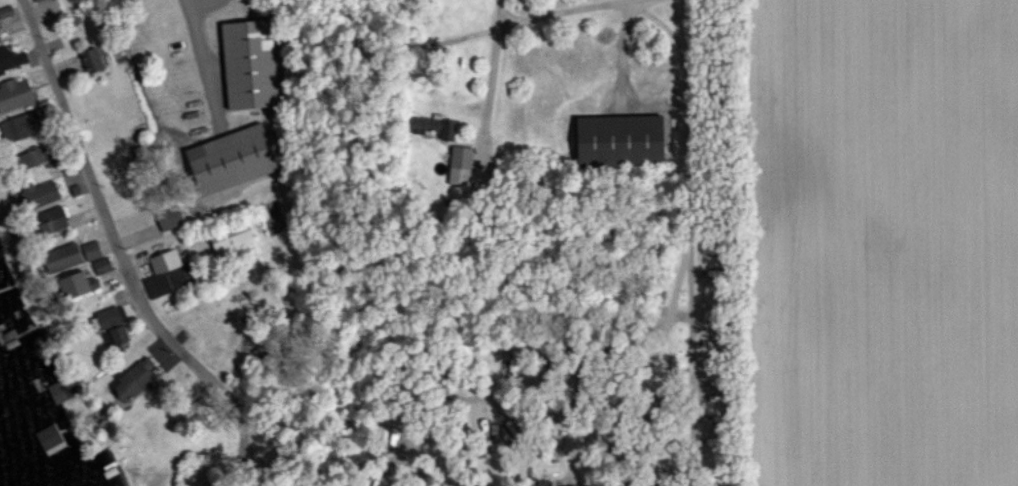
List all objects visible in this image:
road: (196, 3)
road: (560, 10)
building: (5, 11)
road: (660, 22)
building: (11, 59)
building: (89, 60)
road: (200, 62)
building: (248, 64)
road: (483, 78)
building: (14, 93)
building: (13, 126)
building: (433, 127)
building: (617, 140)
road: (693, 154)
building: (230, 159)
building: (23, 161)
building: (458, 165)
building: (36, 193)
building: (168, 218)
building: (46, 221)
building: (231, 240)
building: (90, 250)
building: (60, 257)
road: (117, 257)
building: (100, 265)
building: (164, 274)
road: (682, 278)
building: (72, 284)
road: (682, 308)
building: (109, 326)
building: (131, 379)
building: (58, 390)
road: (693, 397)
road: (550, 412)
building: (496, 430)
road: (574, 456)
building: (543, 483)

